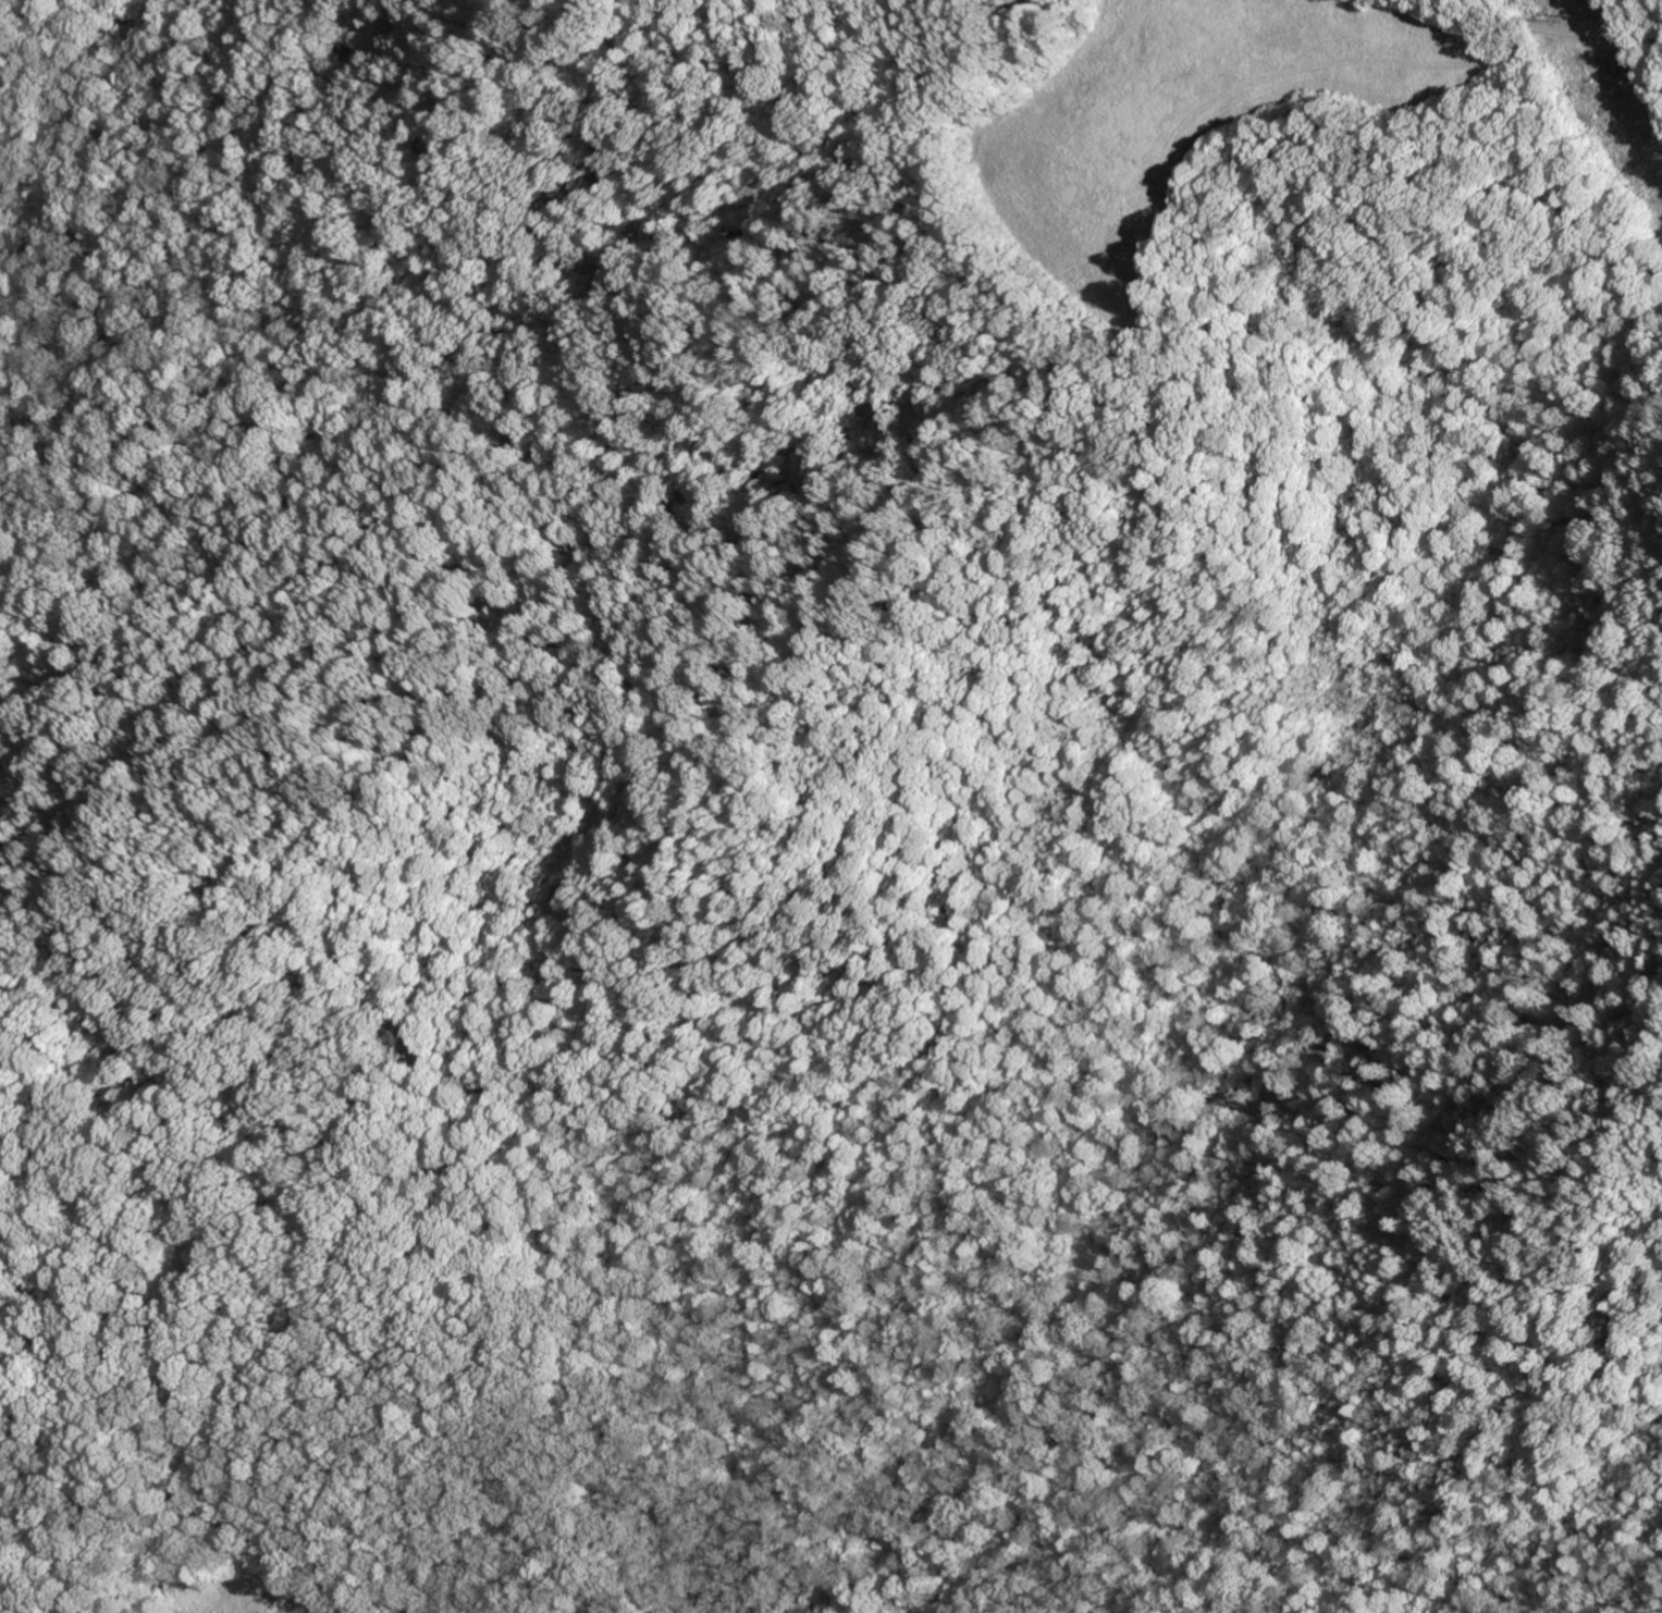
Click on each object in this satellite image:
road: (1553, 33)

